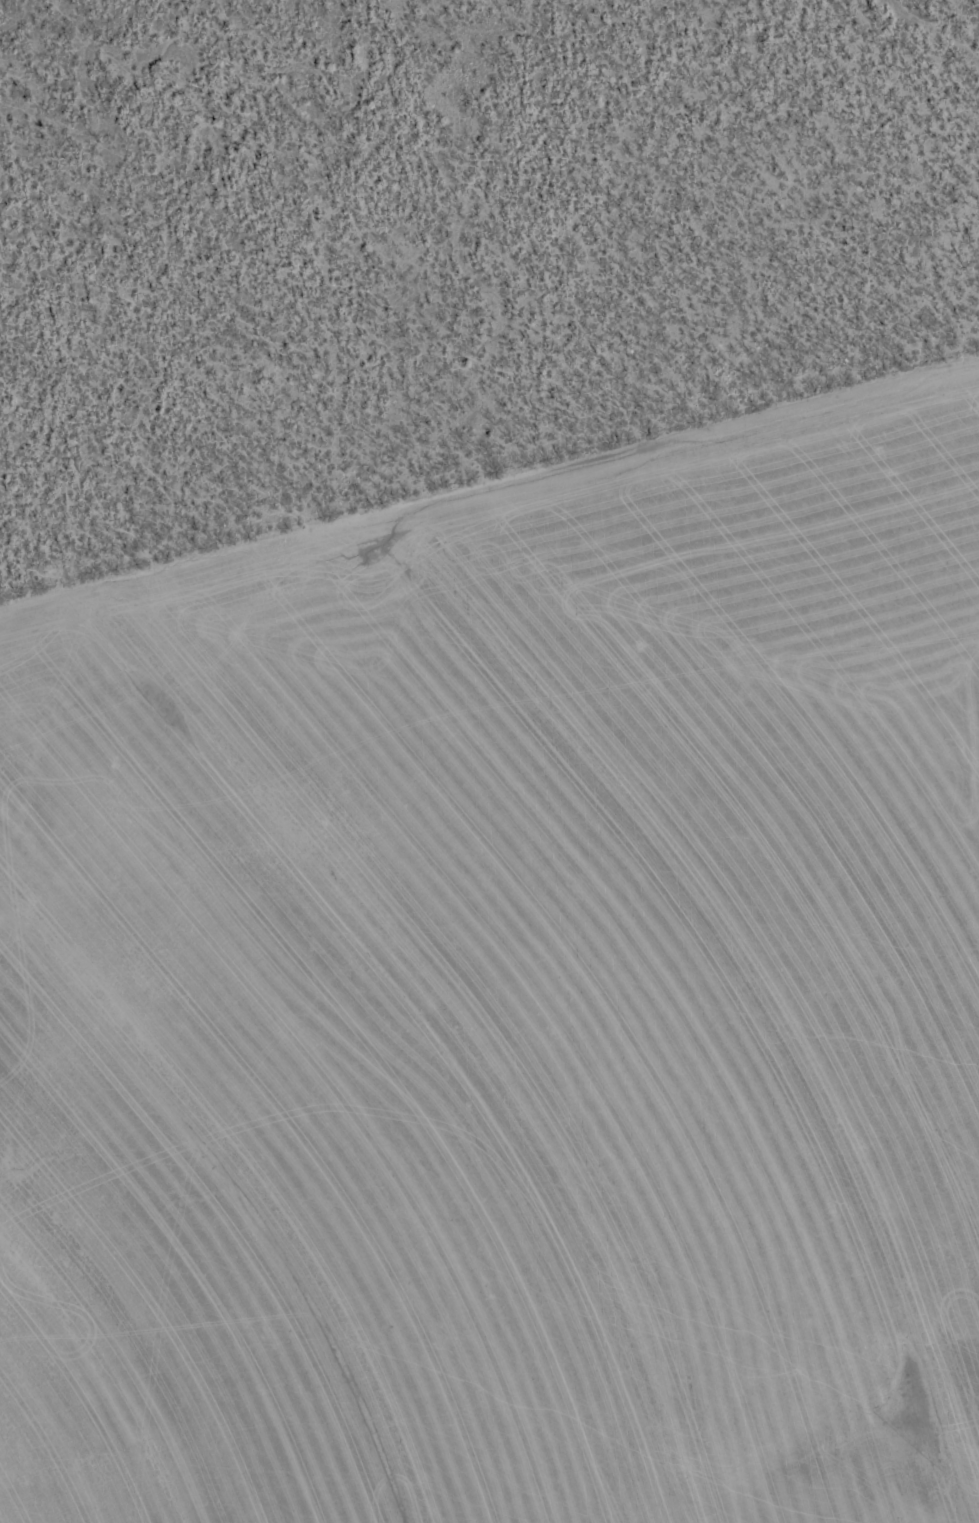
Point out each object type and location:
road: (774, 1341)

